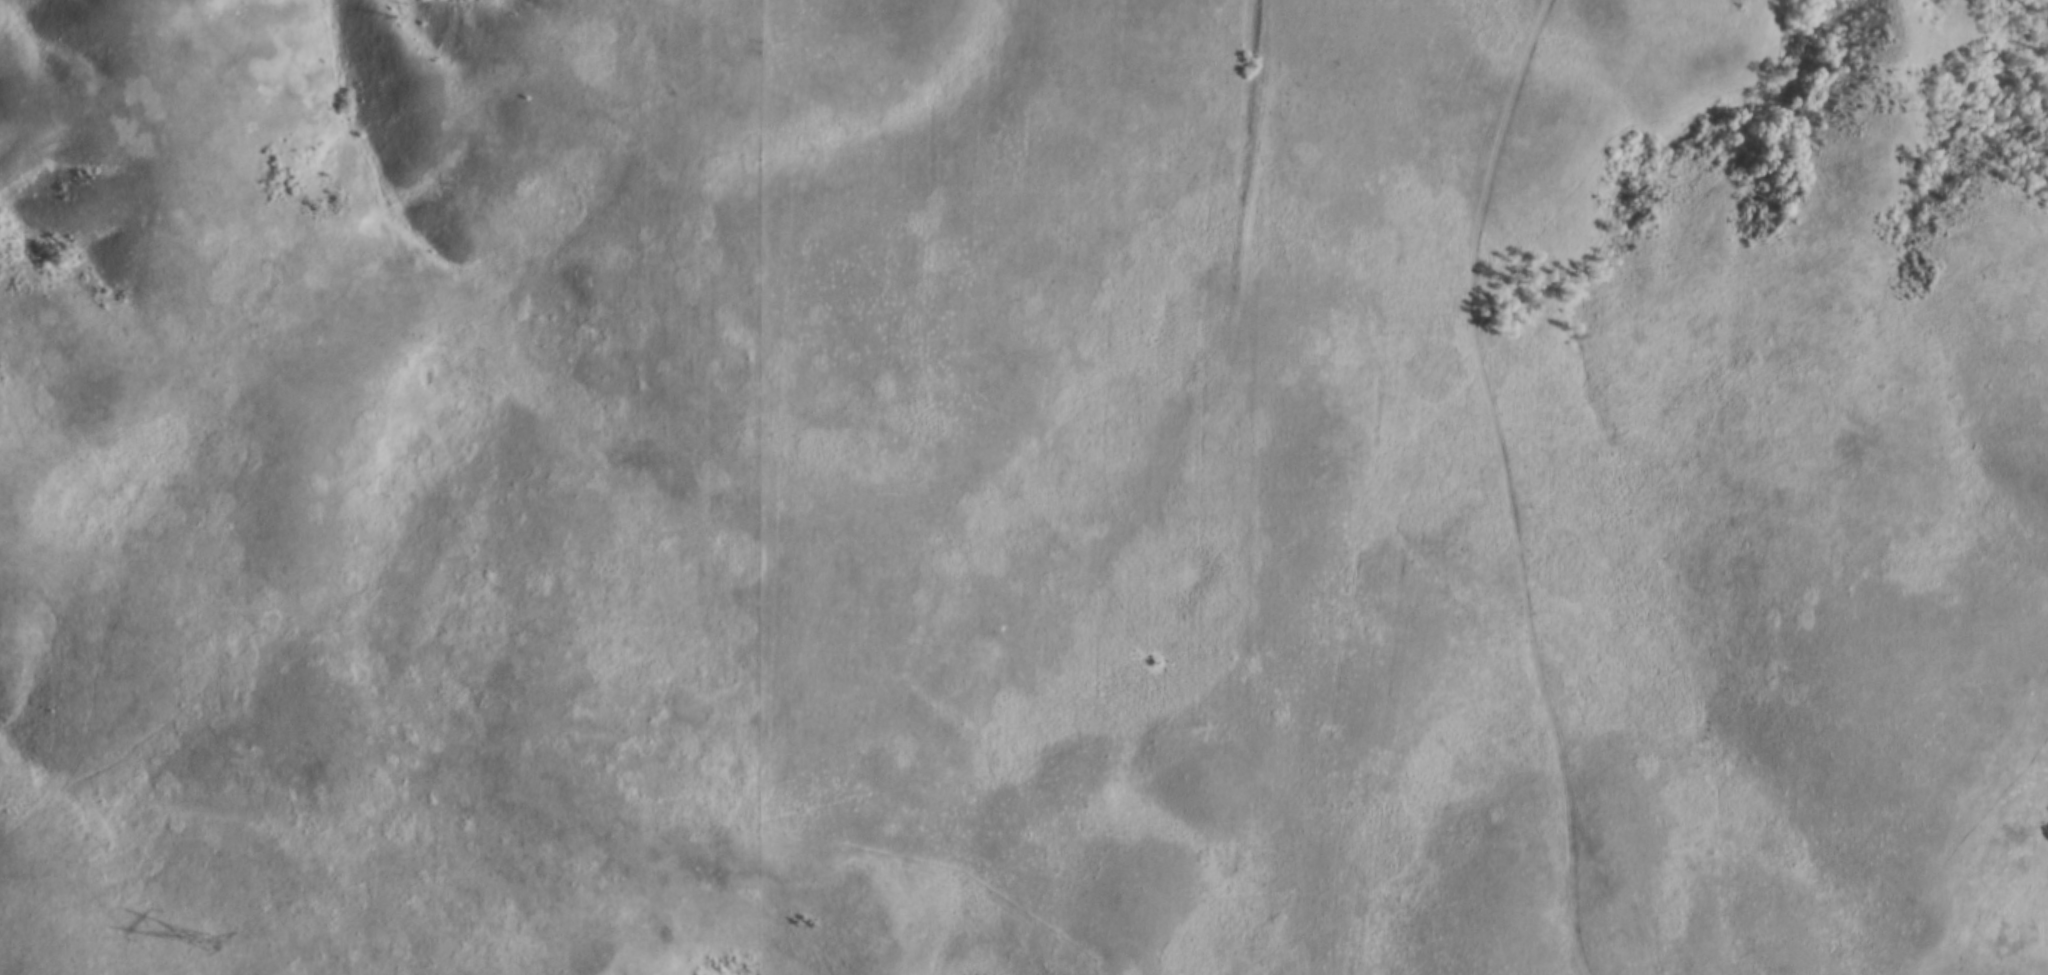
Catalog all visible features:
power tower: (193, 958)

